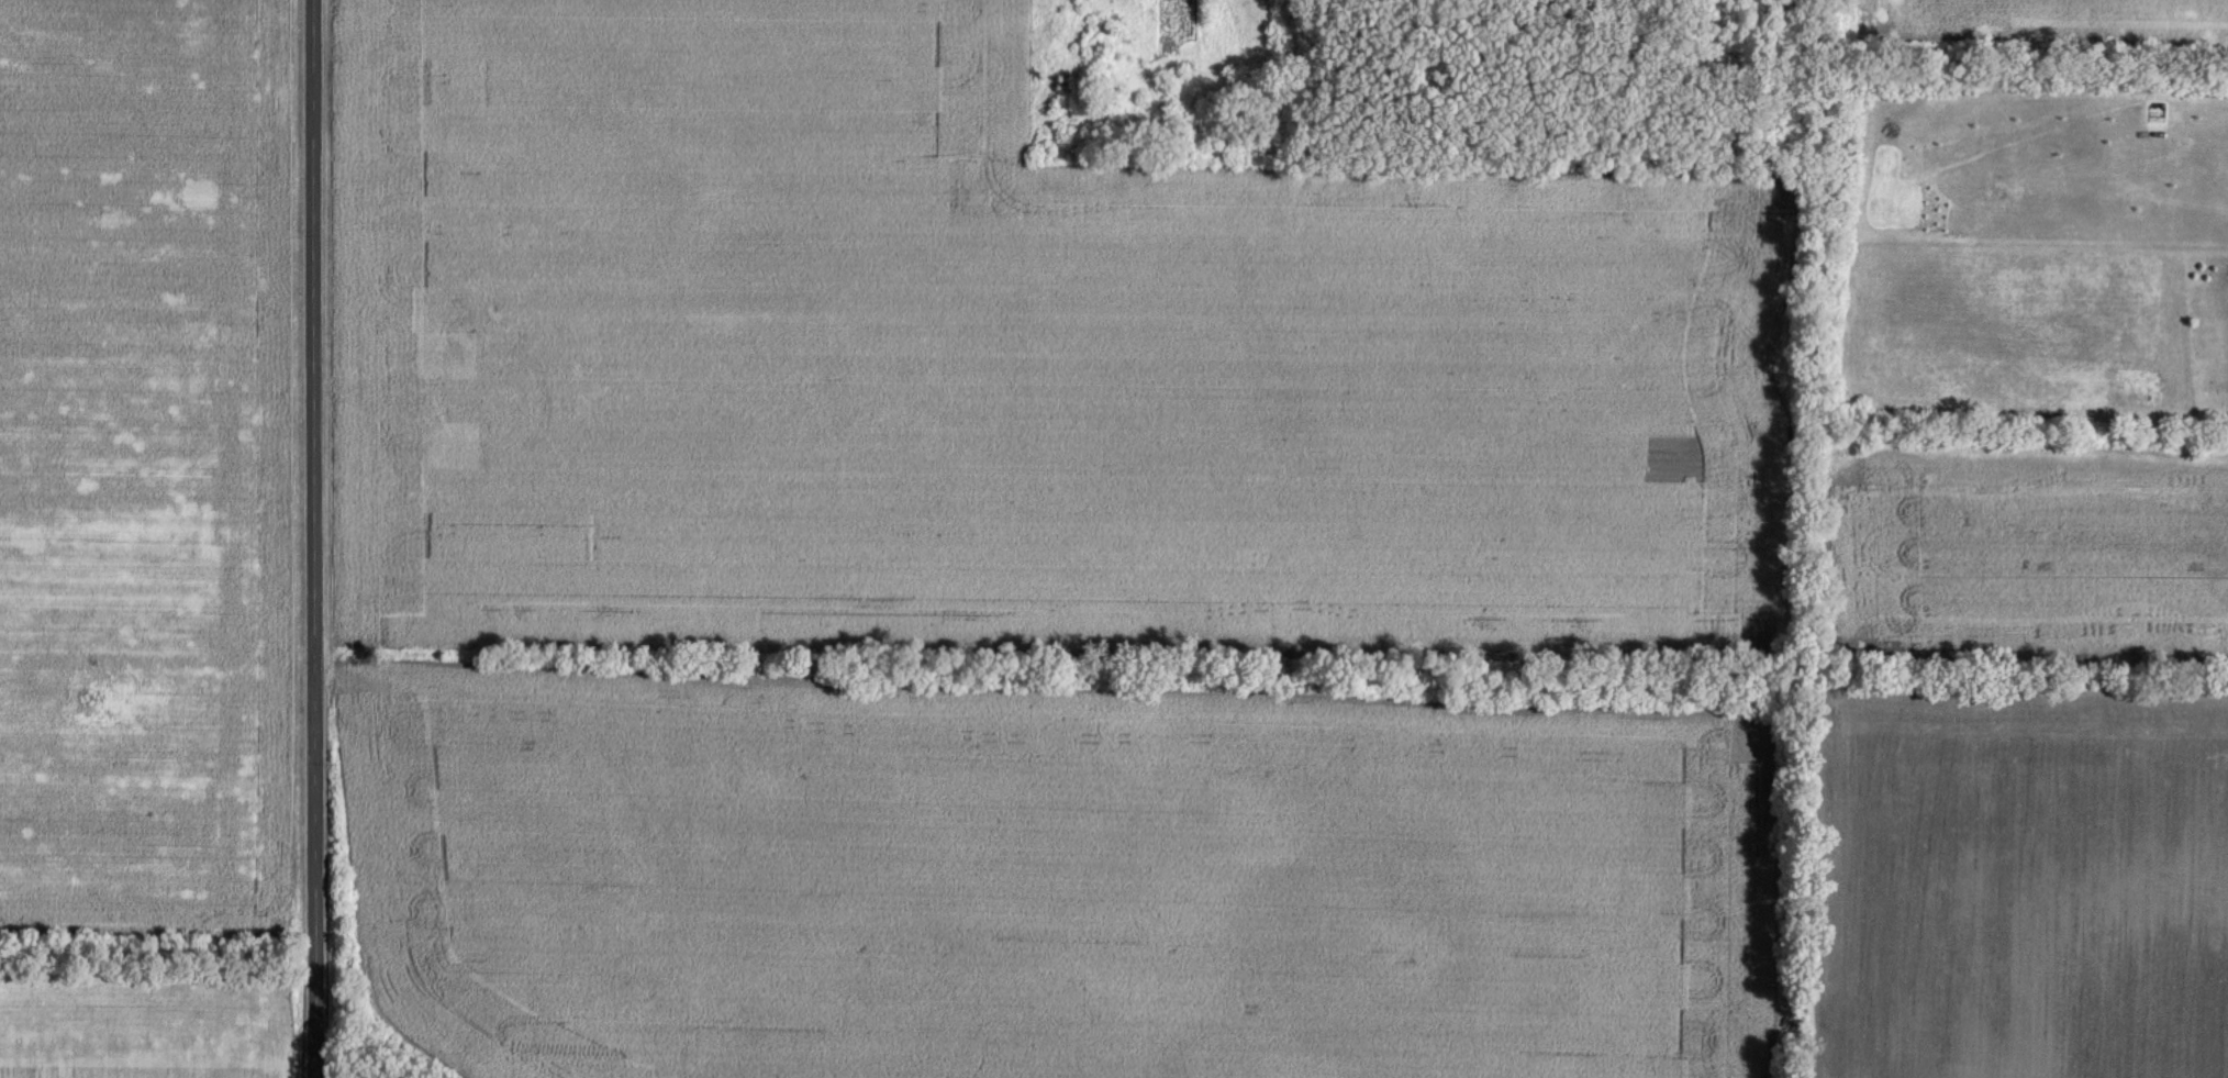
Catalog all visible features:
road: (314, 538)

